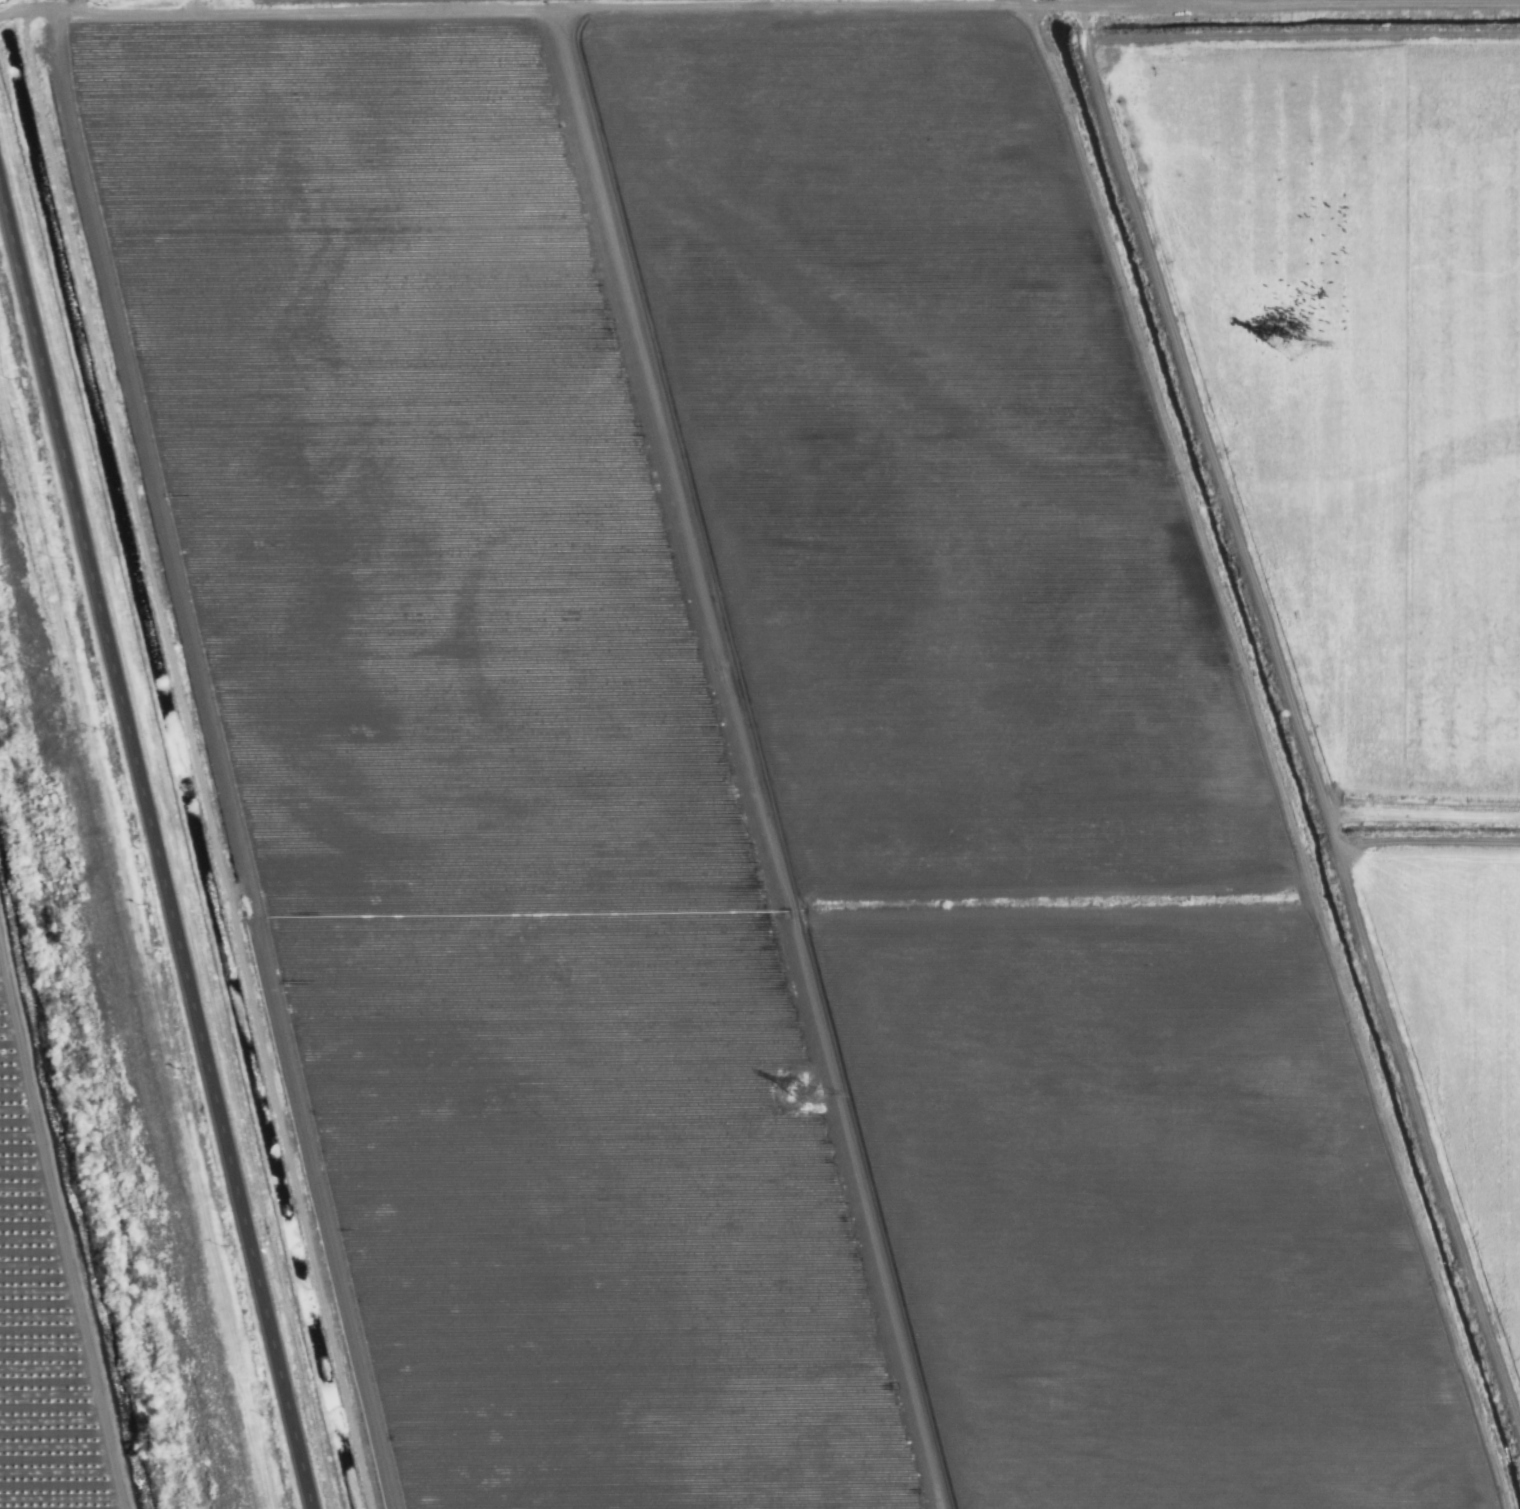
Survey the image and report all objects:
road: (27, 5)
road: (495, 8)
power tower: (1290, 340)
road: (166, 820)
power tower: (818, 1087)

